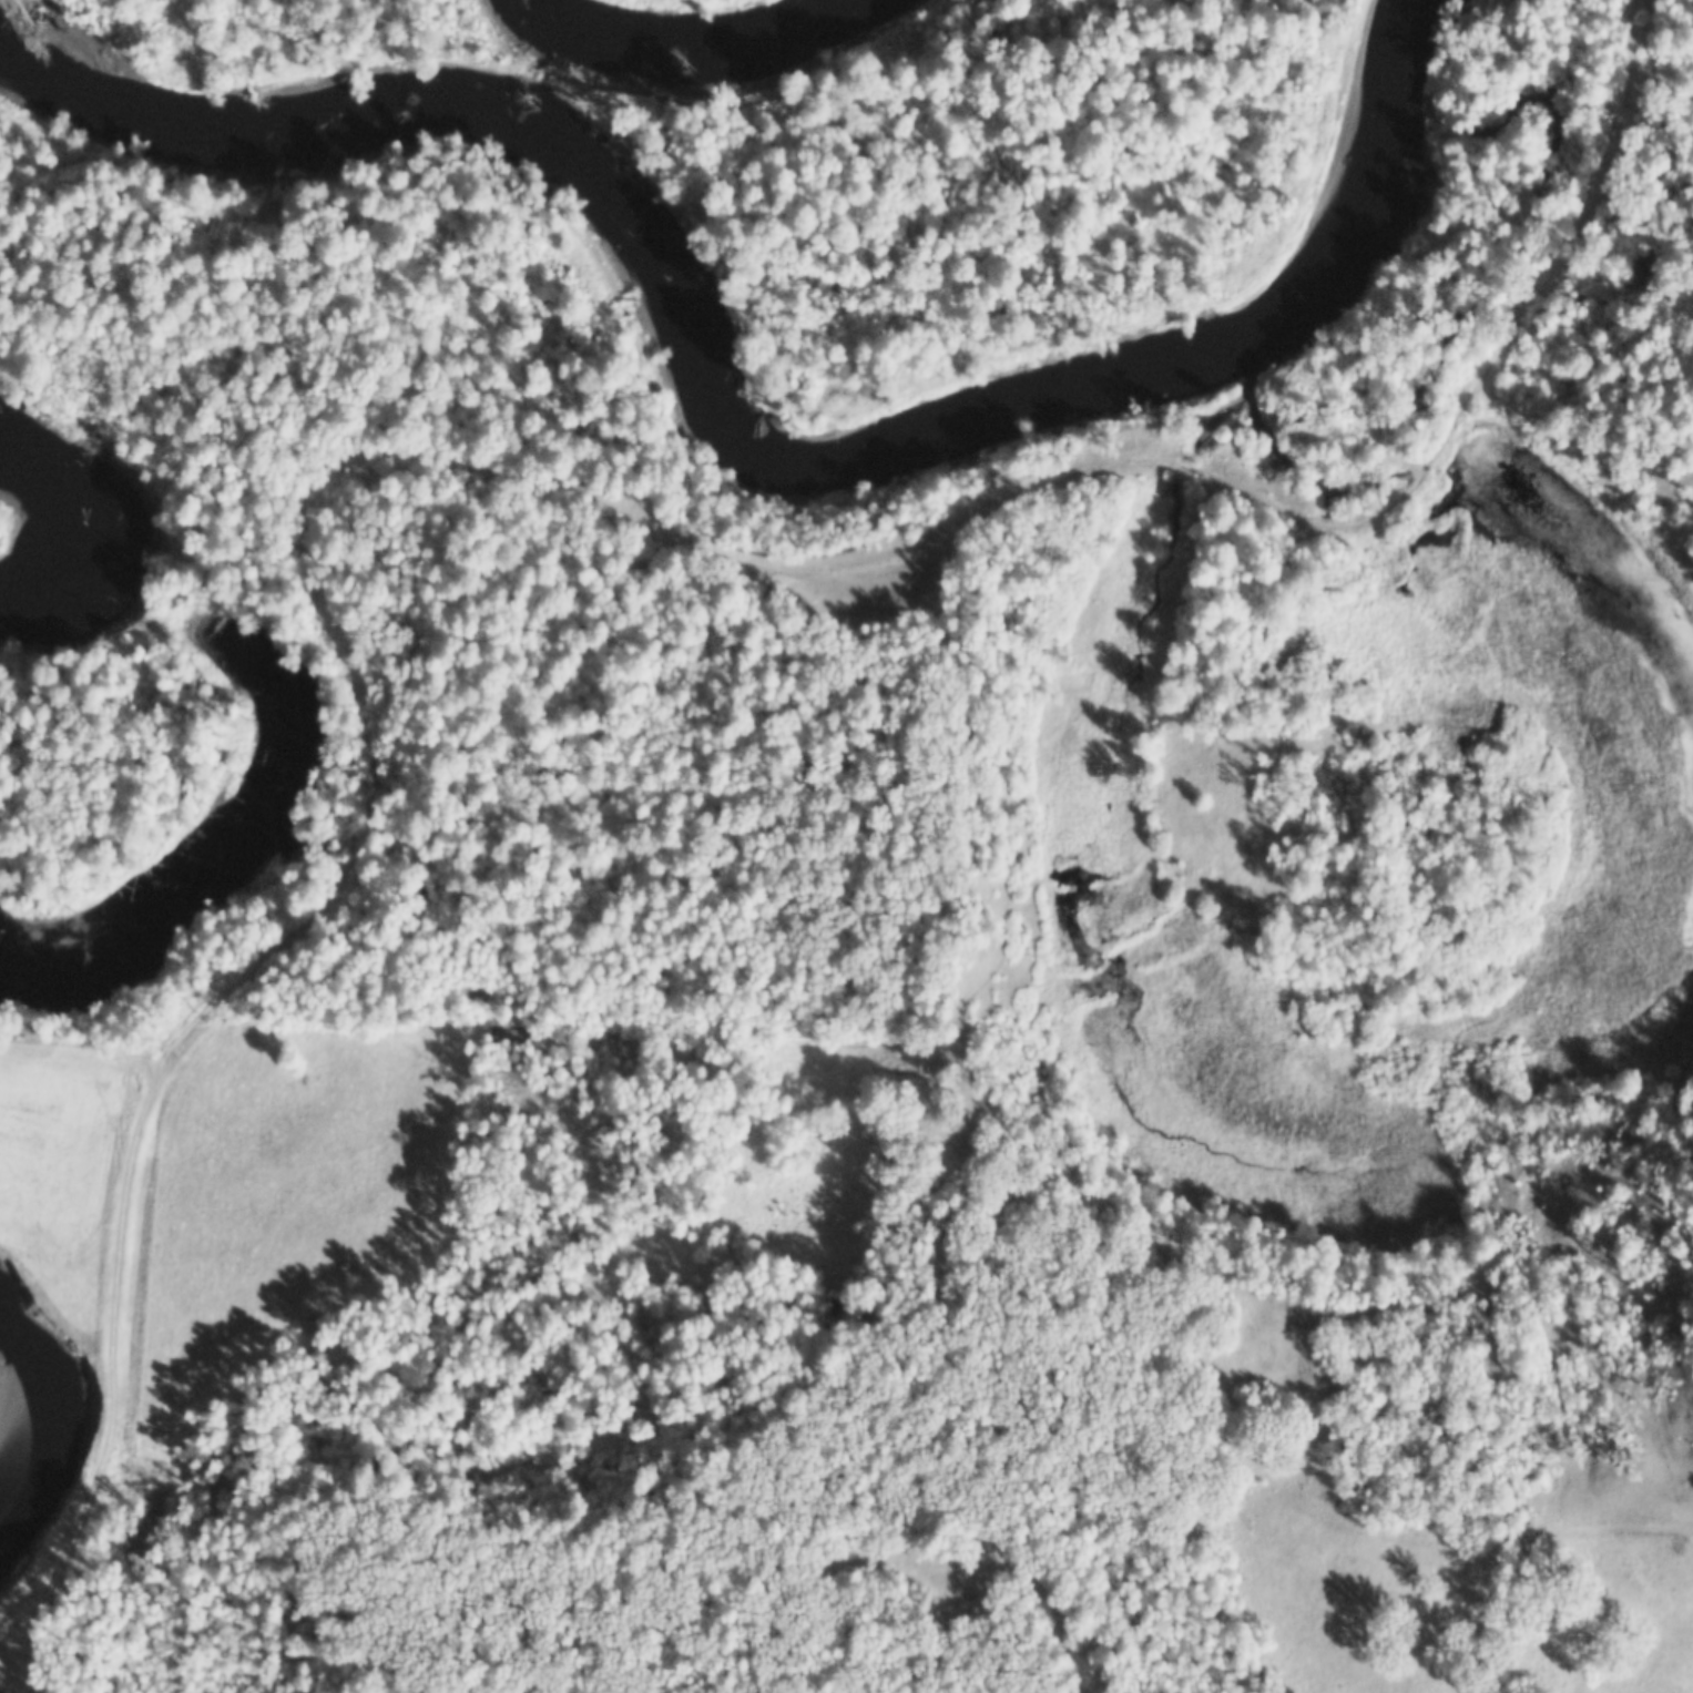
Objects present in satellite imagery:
river: (682, 10)
river: (721, 416)
road: (526, 489)
river: (34, 529)

